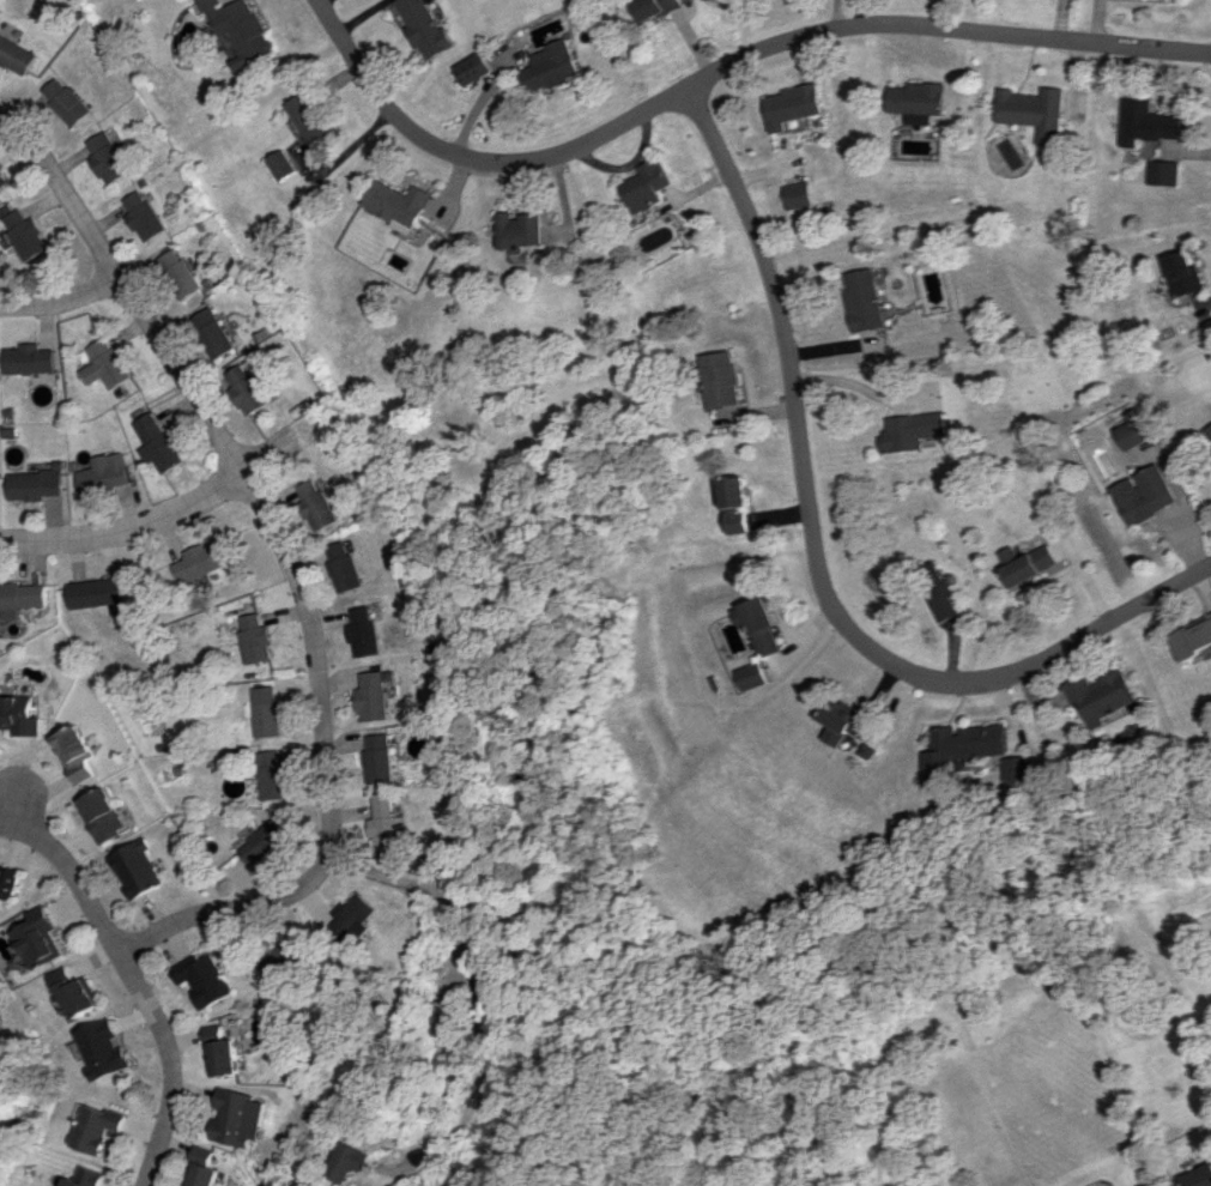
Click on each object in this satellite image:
building: (654, 7)
building: (422, 26)
building: (238, 30)
building: (14, 55)
building: (551, 66)
building: (473, 68)
road: (720, 69)
building: (62, 101)
building: (921, 101)
building: (793, 105)
building: (1039, 111)
building: (309, 117)
building: (1148, 122)
building: (104, 157)
building: (279, 164)
building: (1164, 173)
building: (1, 181)
building: (649, 186)
building: (799, 195)
building: (399, 204)
building: (140, 216)
building: (522, 230)
building: (22, 231)
building: (175, 273)
building: (1182, 273)
road: (57, 299)
building: (865, 299)
building: (210, 332)
building: (24, 359)
building: (101, 364)
building: (723, 379)
building: (244, 388)
building: (1134, 429)
building: (913, 430)
building: (1209, 430)
building: (152, 443)
building: (98, 473)
building: (31, 484)
building: (735, 491)
building: (1144, 494)
building: (315, 506)
road: (150, 519)
building: (738, 520)
road: (815, 555)
building: (194, 562)
road: (289, 562)
building: (1028, 564)
building: (343, 567)
building: (938, 589)
building: (93, 592)
building: (20, 597)
building: (758, 624)
building: (362, 631)
building: (1193, 637)
building: (252, 639)
building: (752, 676)
building: (1104, 695)
building: (371, 696)
building: (265, 712)
building: (17, 715)
building: (846, 721)
building: (964, 749)
building: (73, 752)
building: (380, 758)
building: (1021, 768)
building: (271, 774)
road: (34, 789)
building: (102, 815)
building: (386, 823)
building: (264, 842)
building: (138, 869)
building: (10, 882)
building: (357, 920)
building: (42, 938)
building: (286, 957)
building: (207, 978)
road: (140, 980)
road: (472, 987)
building: (78, 992)
building: (446, 1016)
building: (103, 1048)
building: (226, 1055)
building: (242, 1118)
building: (92, 1127)
building: (351, 1161)
building: (202, 1168)
building: (1199, 1176)
building: (81, 1178)

